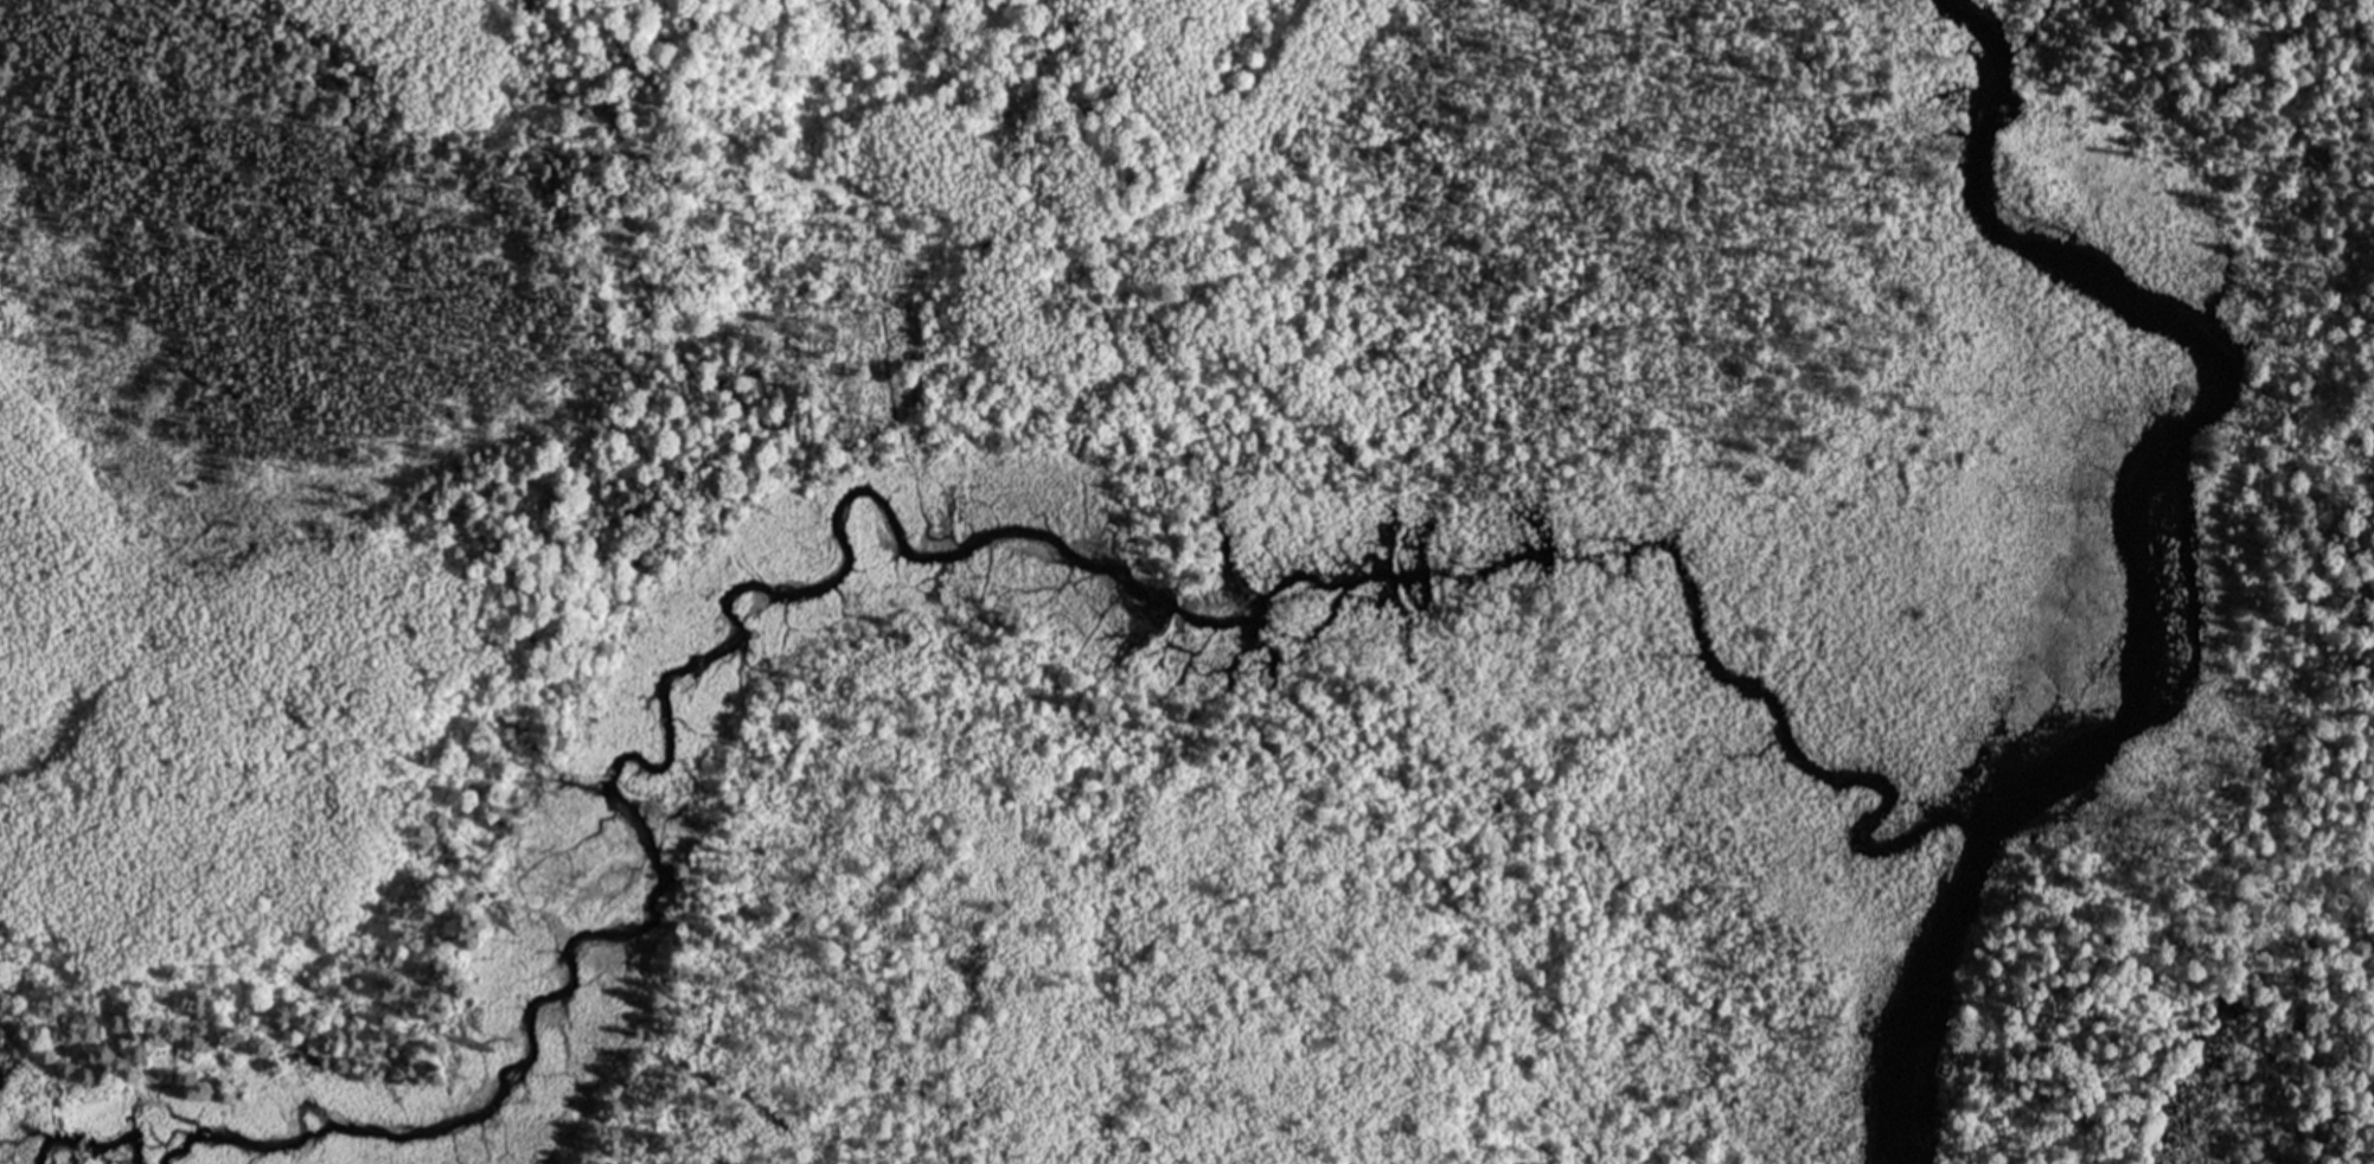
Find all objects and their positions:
river: (892, 526)
river: (2144, 557)
river: (78, 1143)

